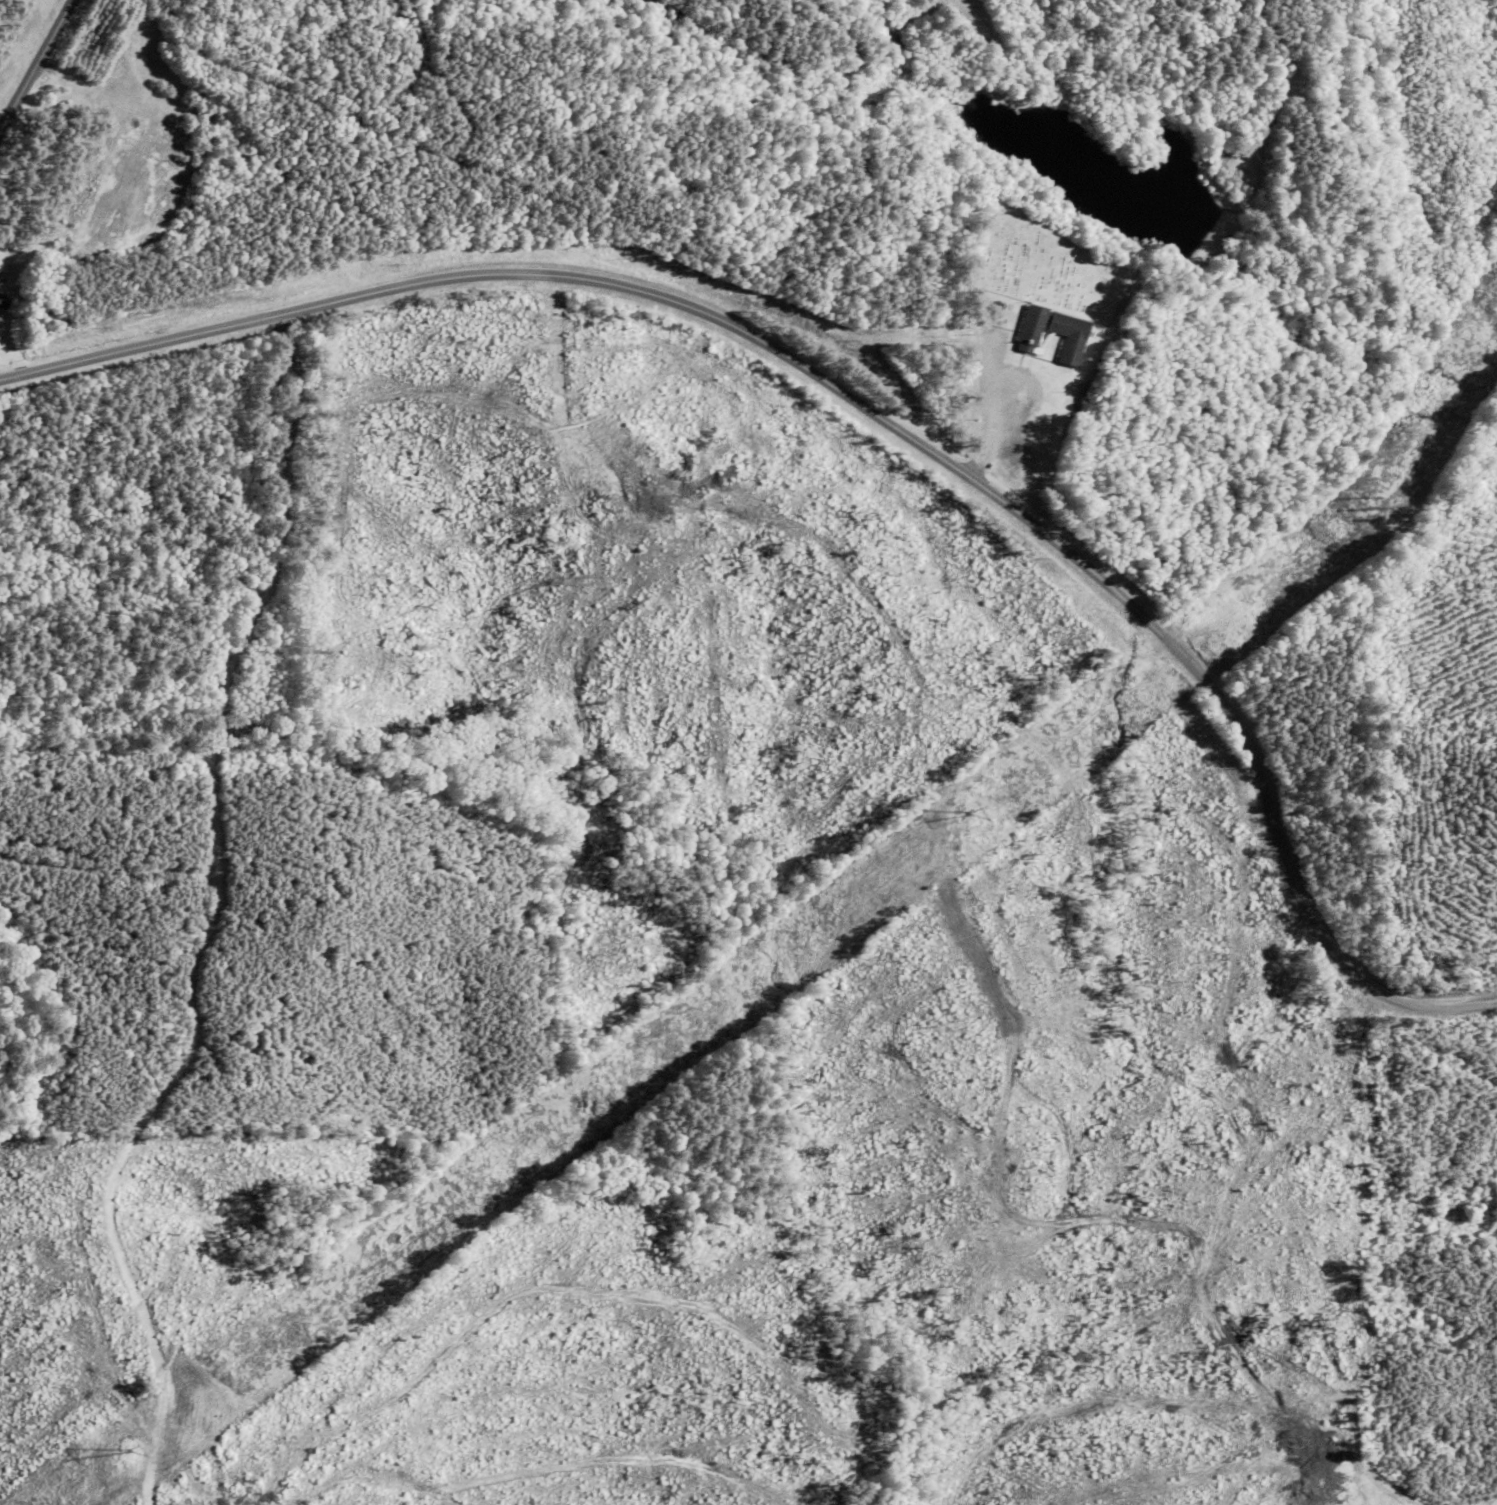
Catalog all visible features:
road: (37, 71)
building: (1069, 332)
road: (870, 412)
power tower: (1385, 508)
power tower: (974, 813)
power tower: (135, 1450)

